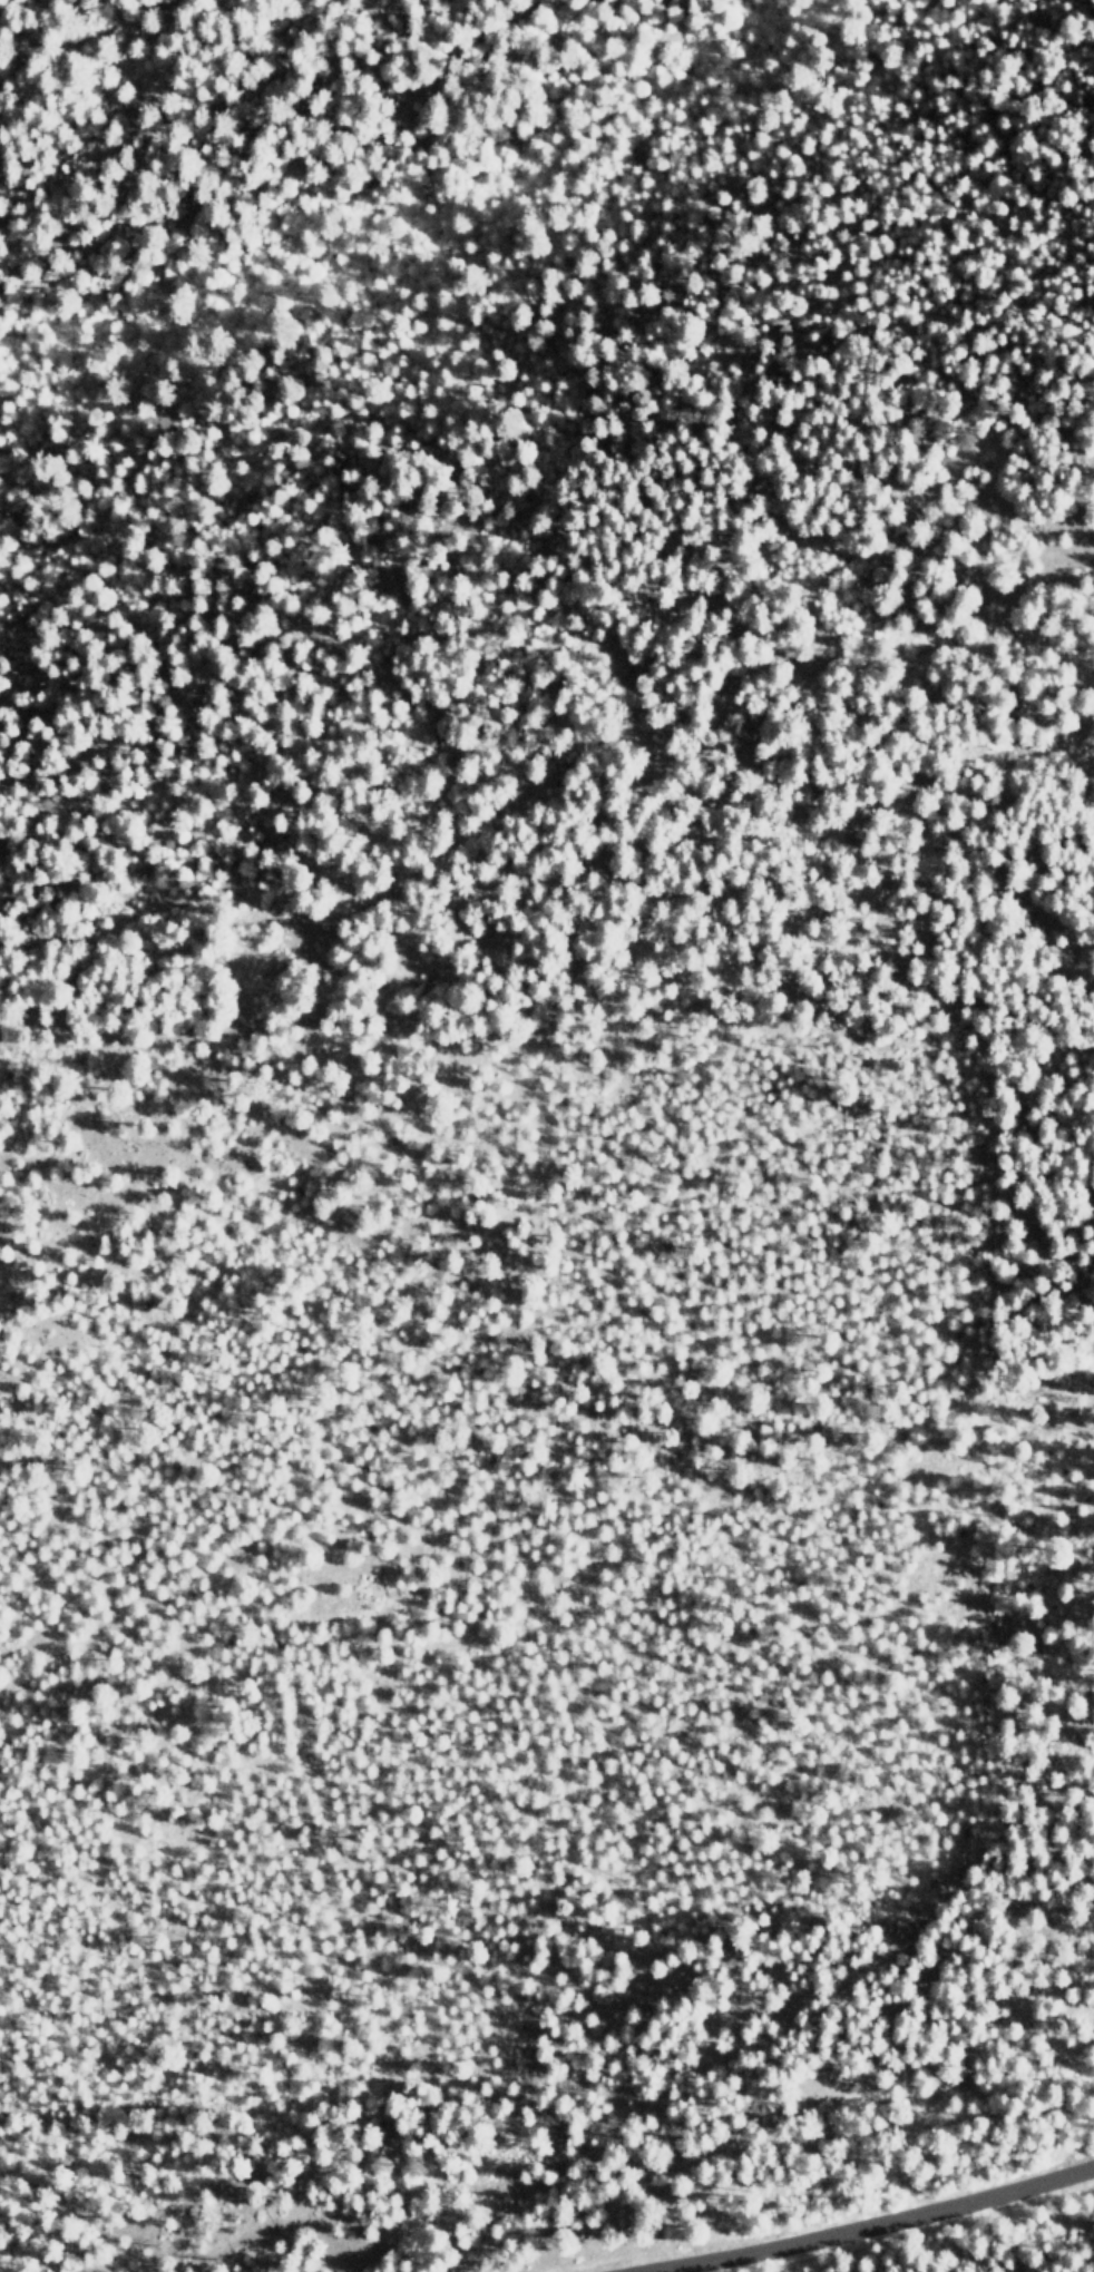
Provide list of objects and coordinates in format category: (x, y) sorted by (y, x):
road: (863, 2224)

